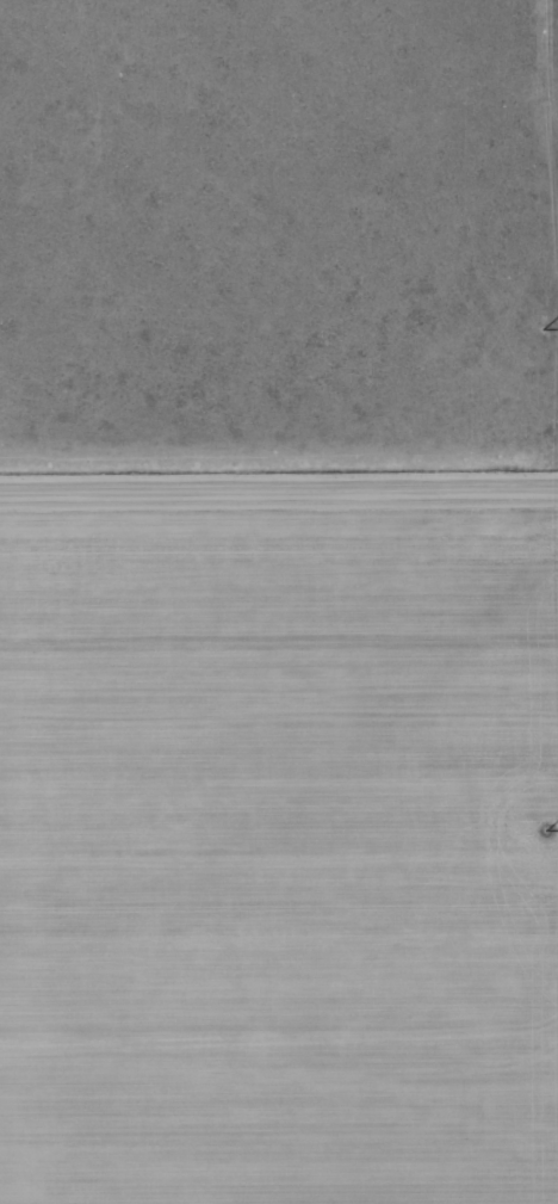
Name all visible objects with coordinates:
power tower: (542, 329)
road: (278, 484)
power tower: (545, 828)

